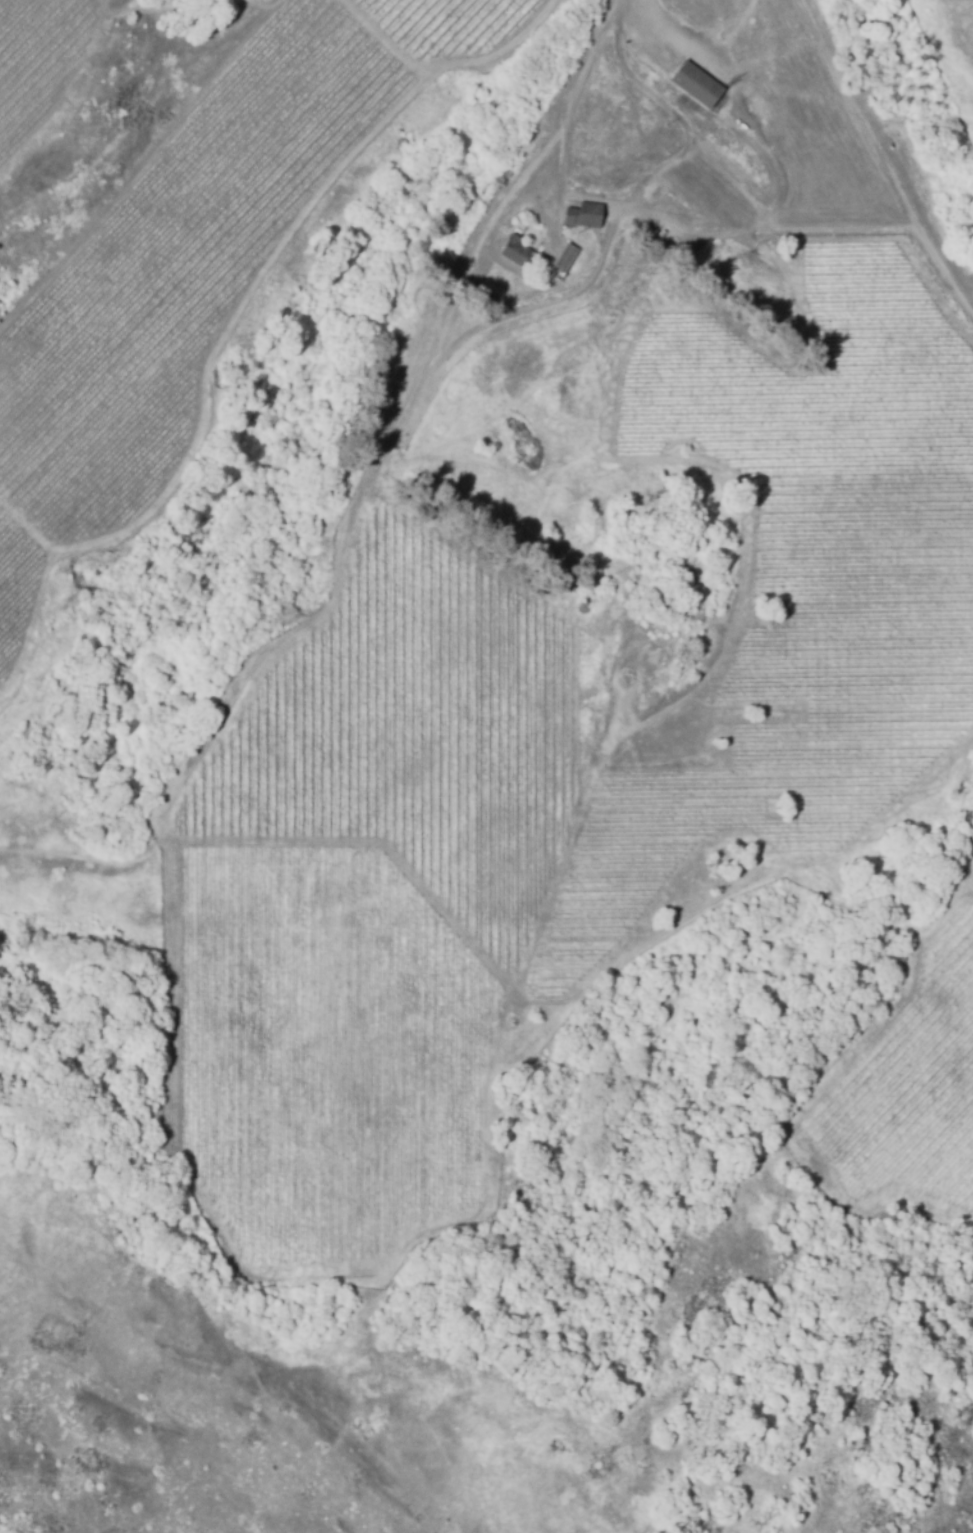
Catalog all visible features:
crop: (445, 25)
crop: (39, 60)
road: (577, 88)
building: (694, 88)
building: (502, 176)
building: (580, 220)
building: (509, 256)
building: (562, 261)
crop: (167, 292)
crop: (803, 589)
crop: (408, 740)
crop: (320, 1053)
crop: (912, 1089)

